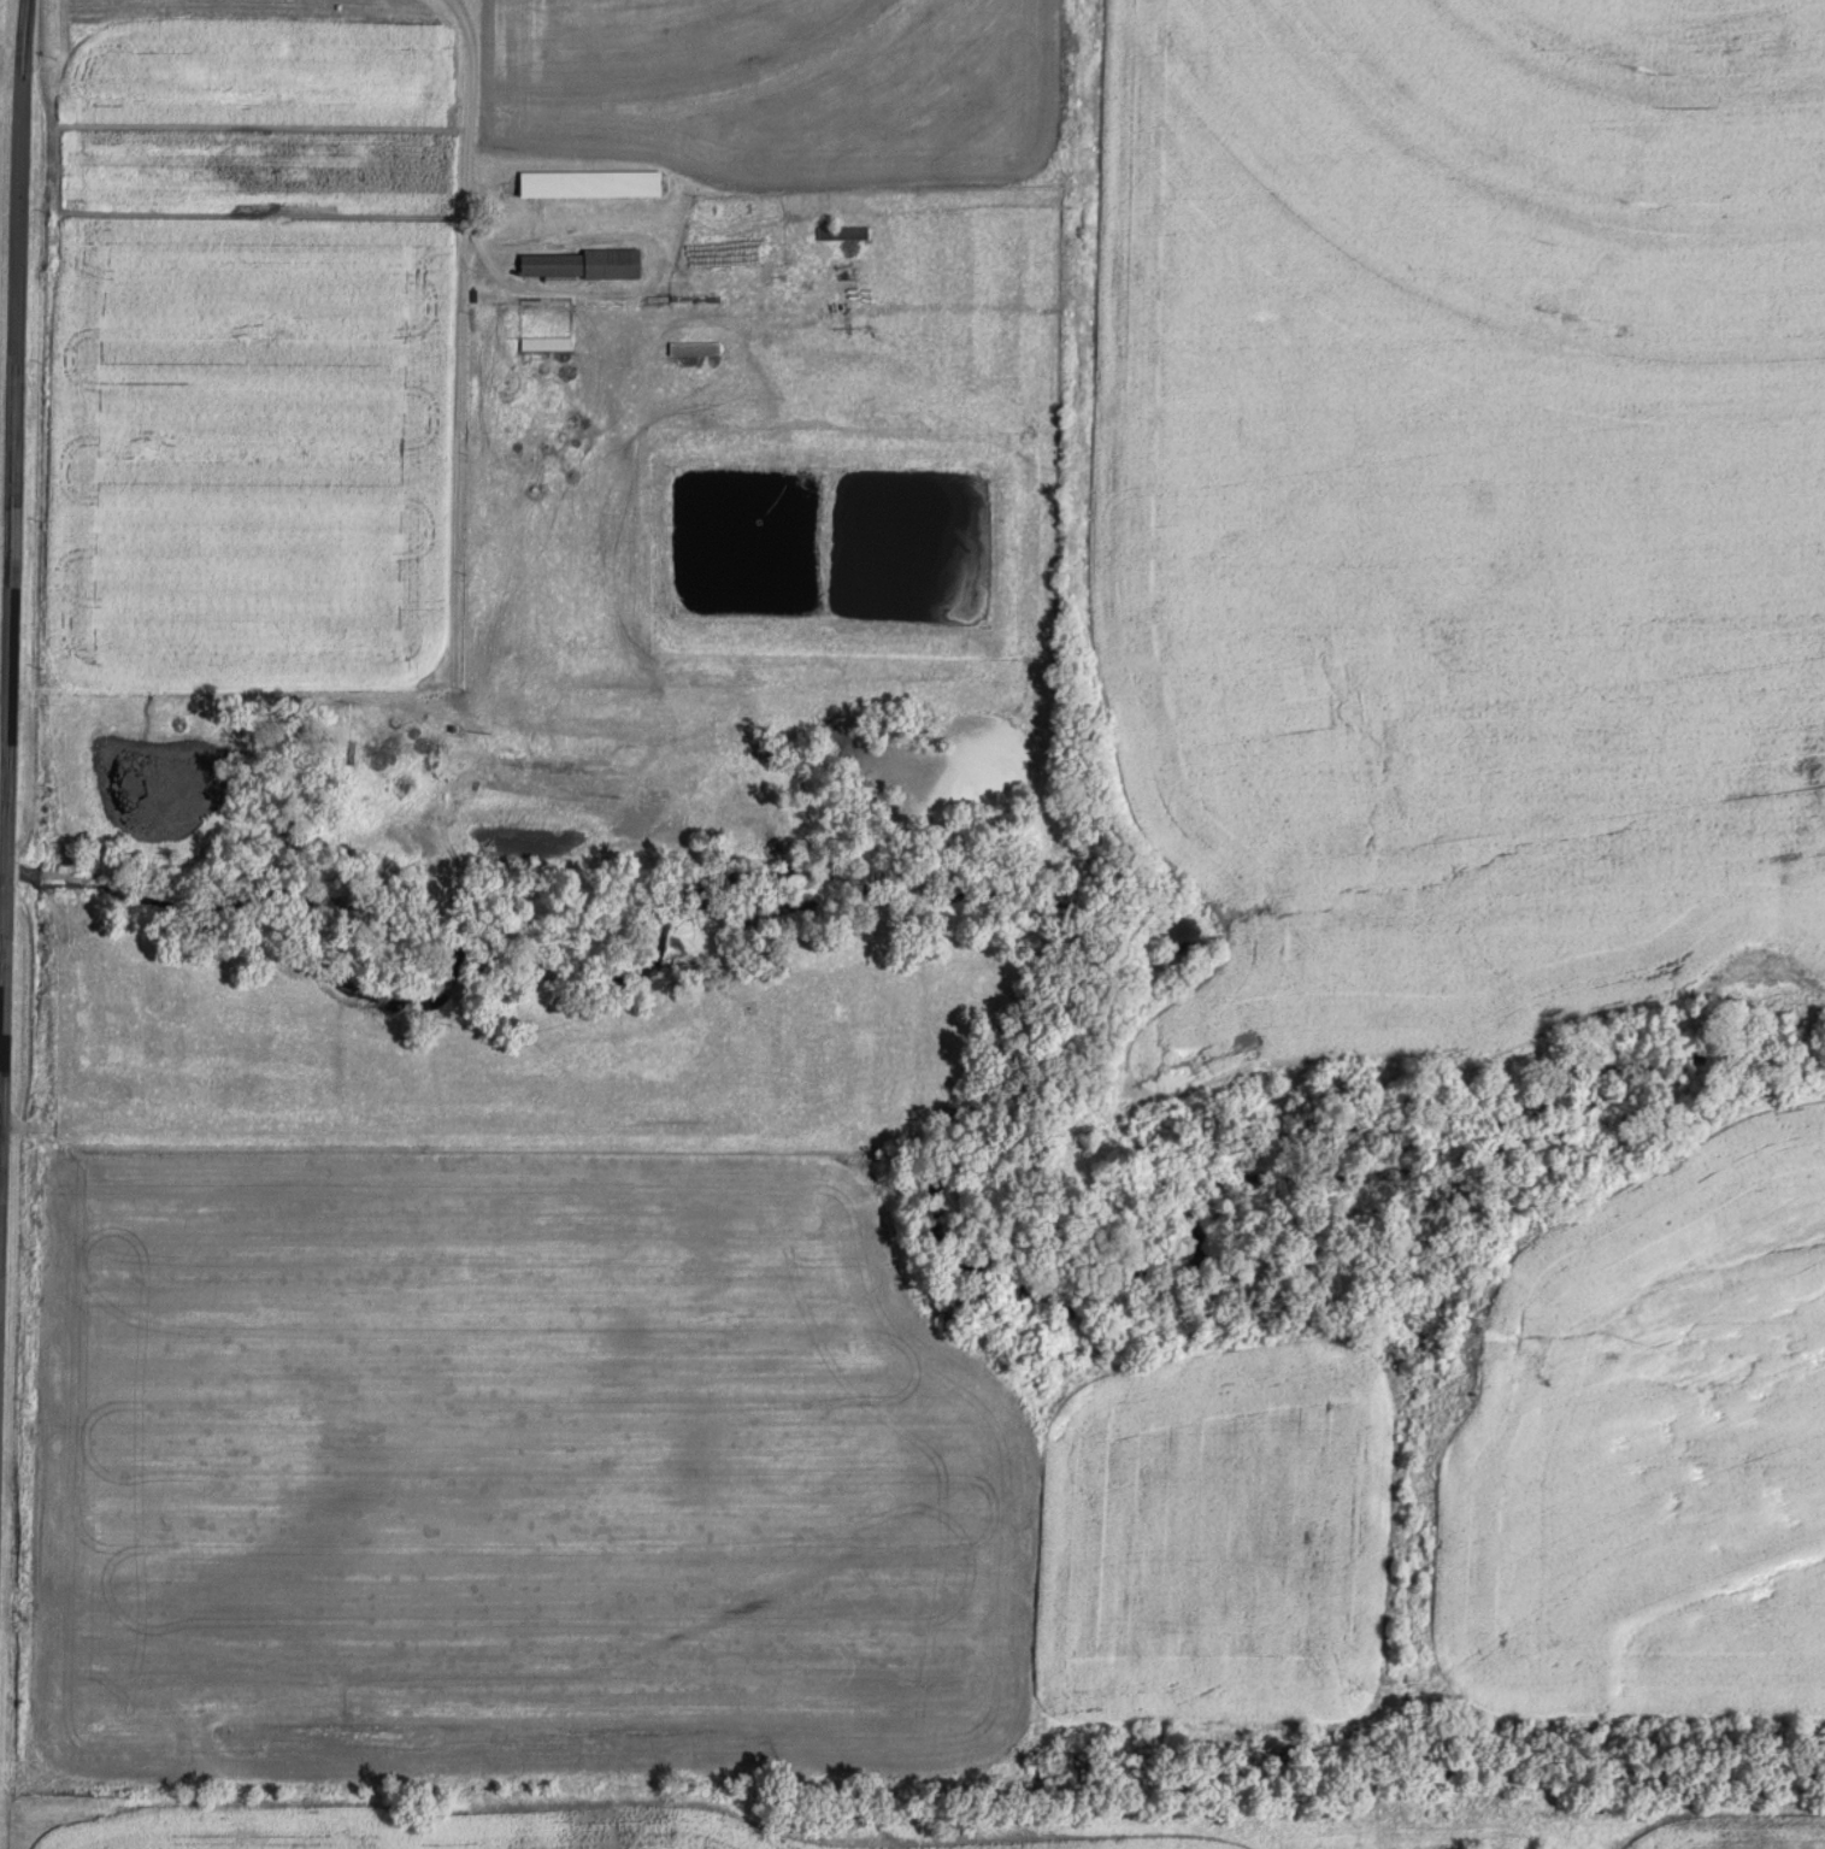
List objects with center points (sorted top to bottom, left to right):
road: (470, 151)
building: (590, 183)
building: (842, 232)
building: (579, 265)
building: (544, 343)
building: (694, 349)
road: (13, 531)
road: (370, 1132)
road: (731, 1773)

